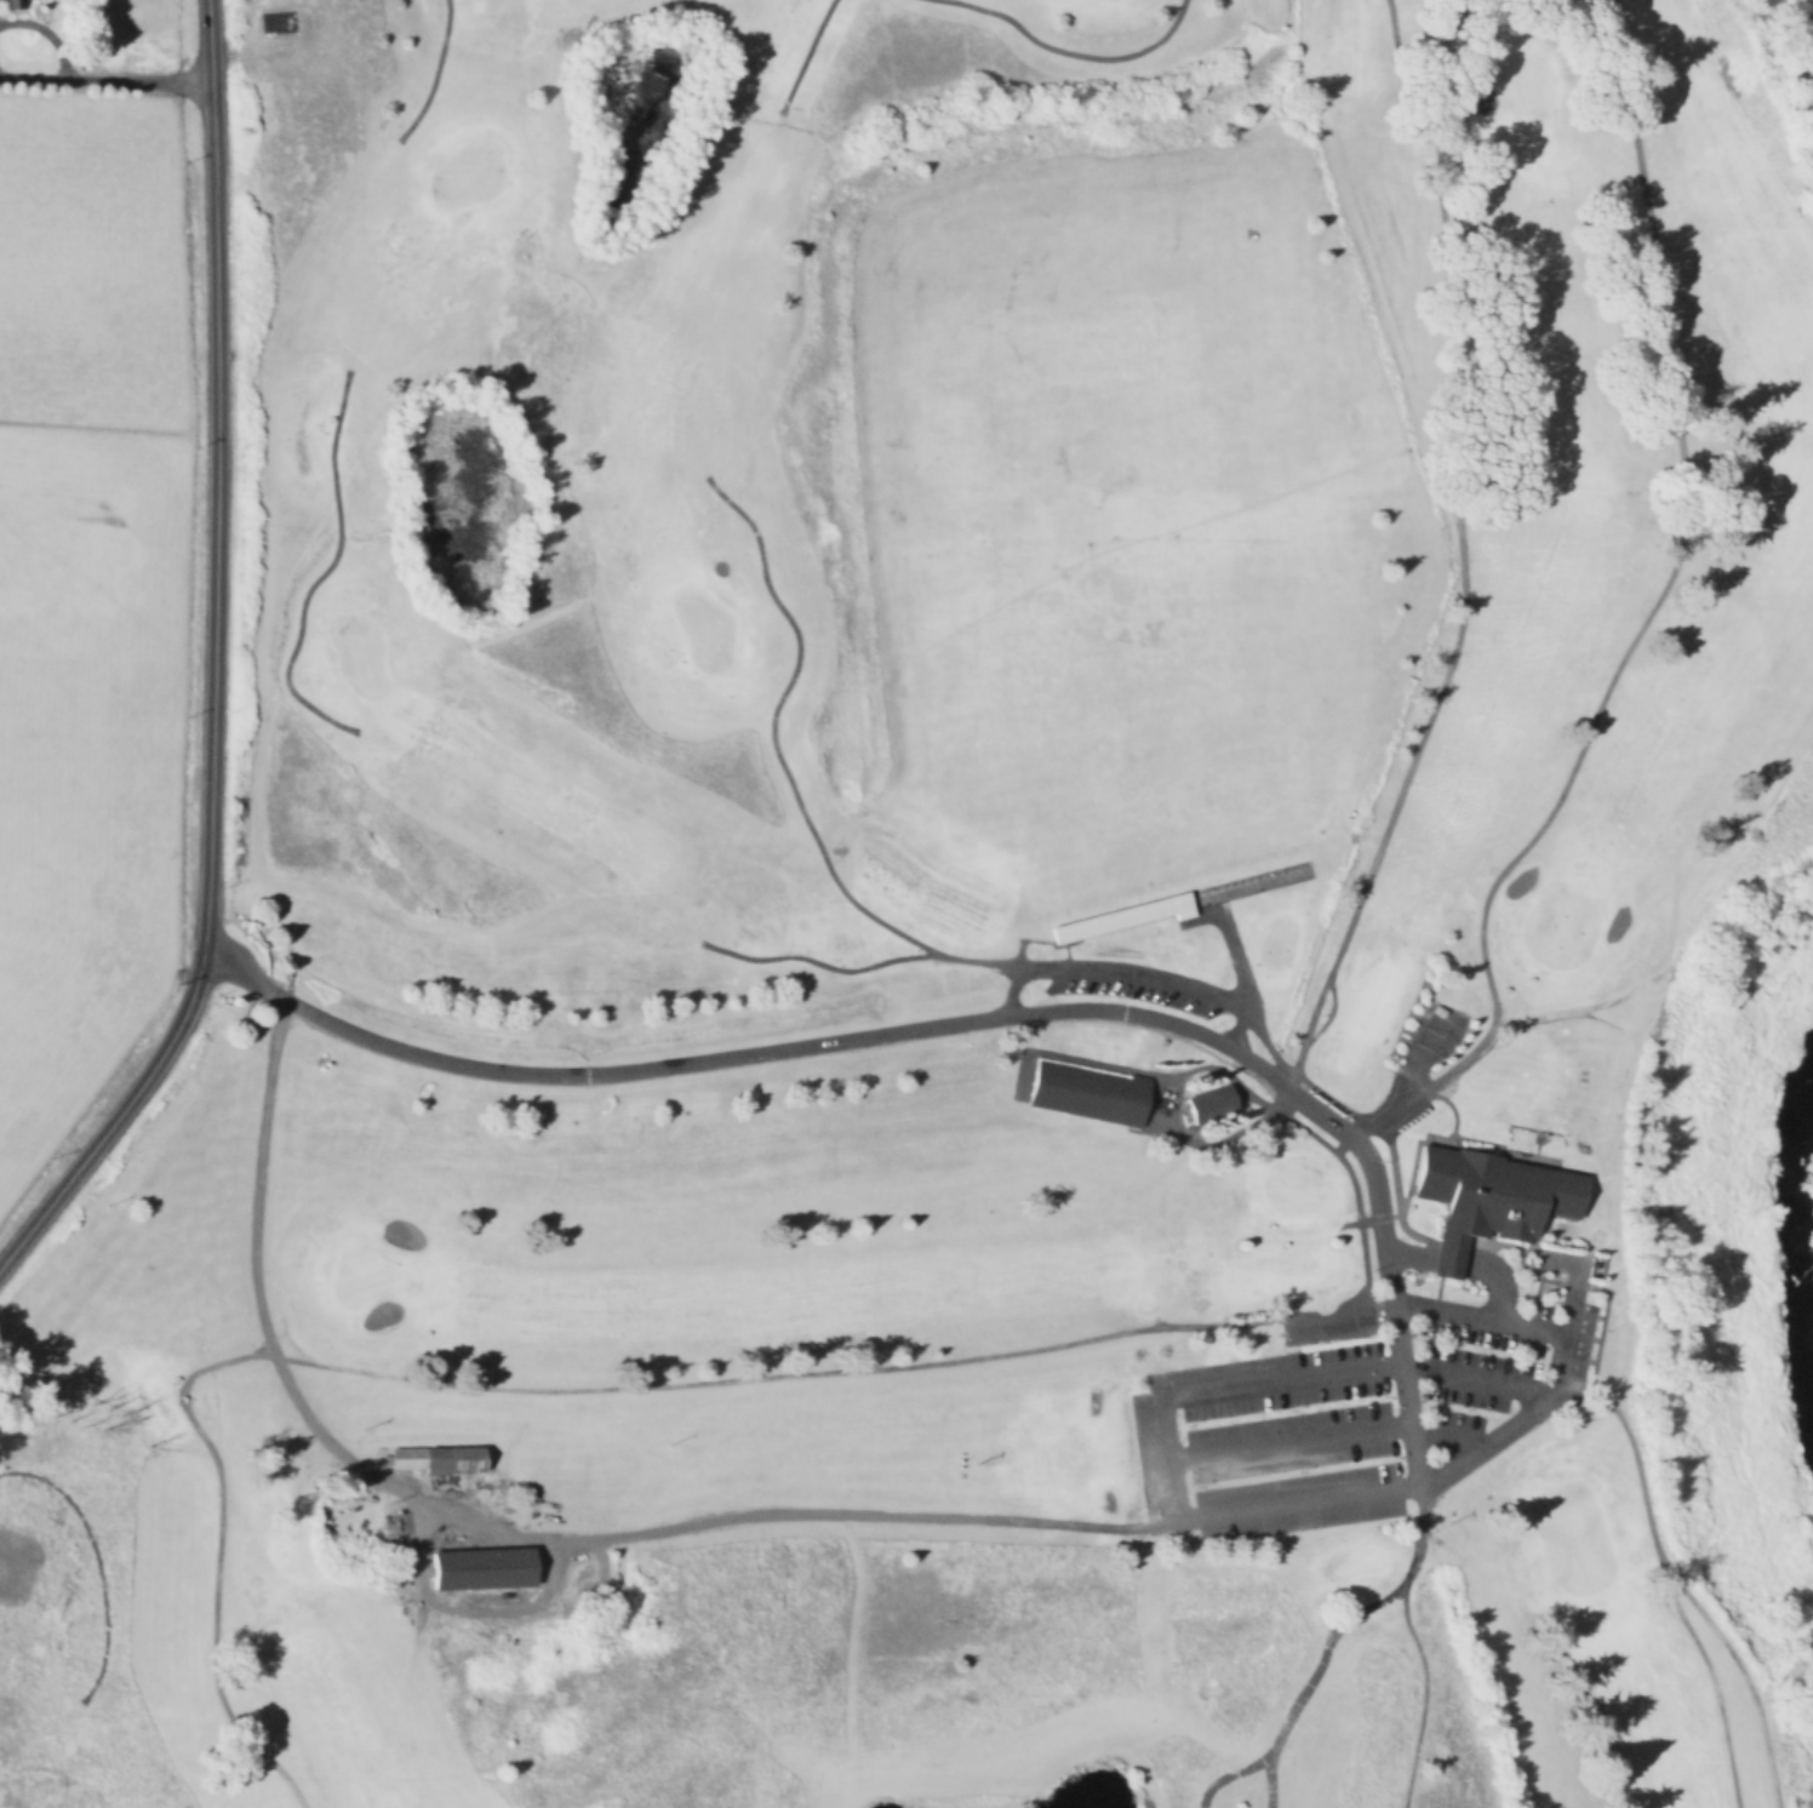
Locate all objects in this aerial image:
building: (7, 4)
road: (1074, 53)
road: (803, 56)
road: (434, 75)
road: (488, 76)
road: (105, 81)
park: (1521, 81)
road: (1434, 88)
road: (571, 267)
road: (321, 568)
road: (1662, 587)
crop: (85, 601)
road: (442, 635)
road: (212, 664)
road: (627, 734)
road: (785, 772)
road: (1396, 795)
building: (1122, 921)
park: (955, 923)
park: (1559, 925)
road: (818, 962)
road: (1236, 963)
road: (1129, 973)
road: (869, 1035)
building: (1086, 1098)
road: (1399, 1104)
building: (1209, 1109)
river: (1812, 1123)
building: (1487, 1203)
road: (1407, 1258)
road: (1445, 1265)
park: (364, 1274)
road: (1500, 1282)
road: (1574, 1303)
road: (1344, 1322)
road: (1396, 1338)
road: (1561, 1358)
road: (784, 1374)
parking lot: (1350, 1414)
road: (1367, 1435)
building: (436, 1463)
road: (1453, 1470)
road: (1176, 1516)
road: (511, 1533)
park: (1571, 1538)
road: (216, 1557)
building: (480, 1570)
road: (1676, 1580)
road: (1350, 1615)
road: (1424, 1688)
road: (1716, 1688)
road: (1226, 1774)
road: (1268, 1781)

